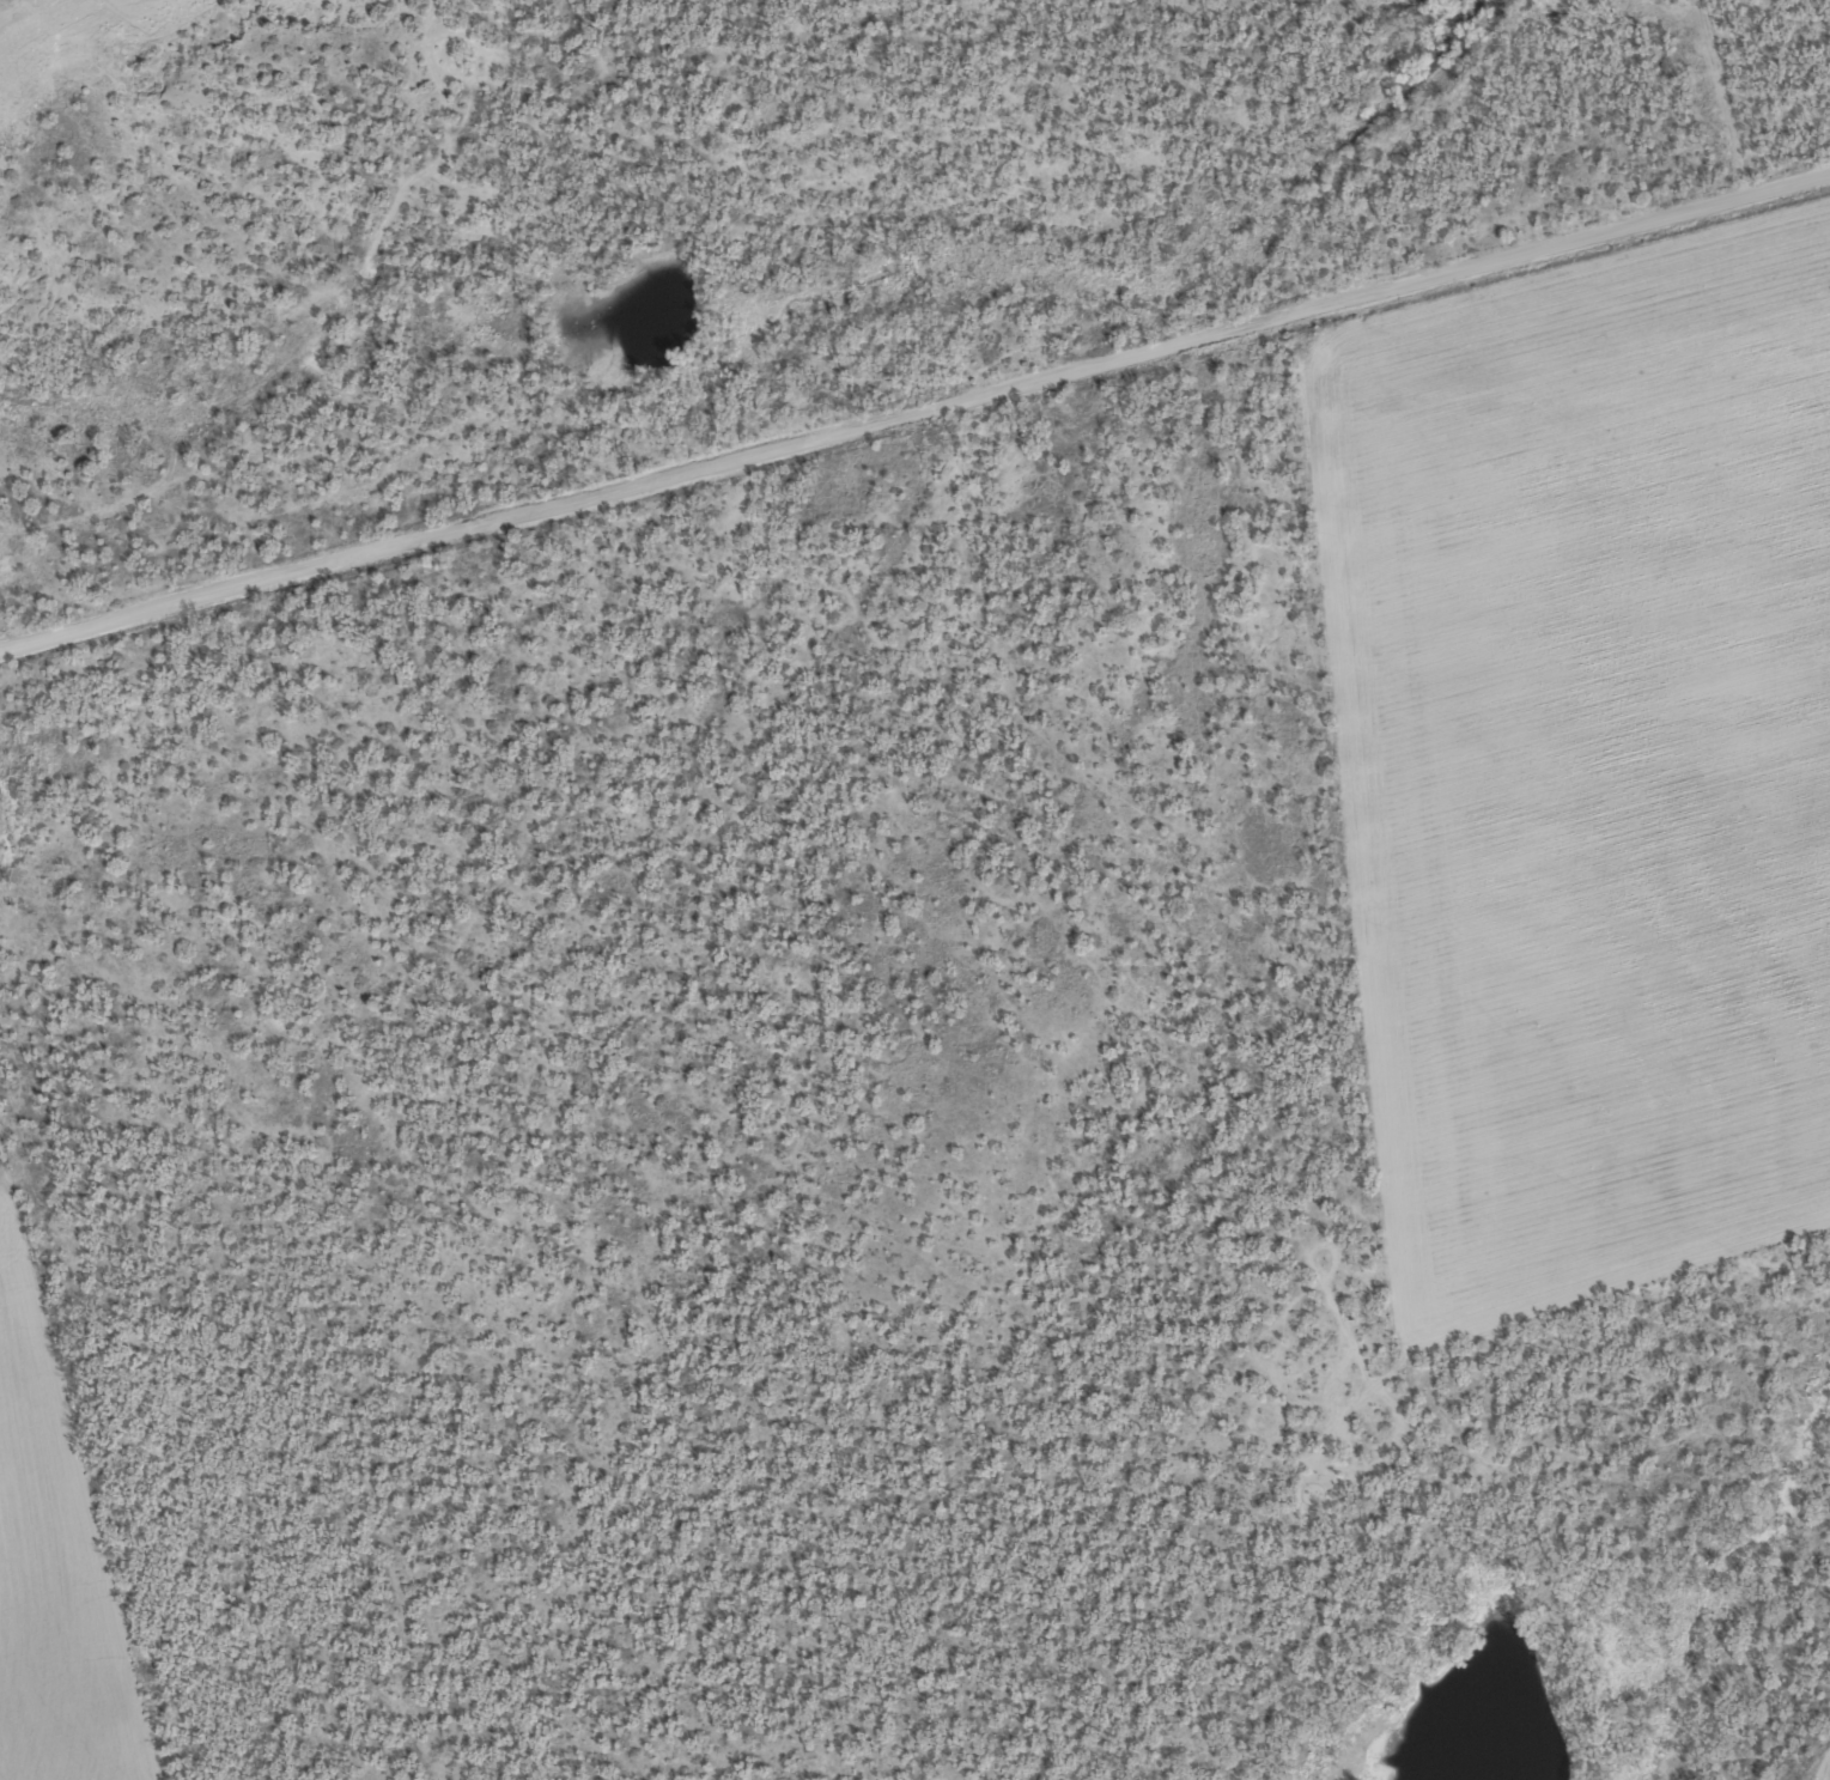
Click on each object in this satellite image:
road: (914, 399)

